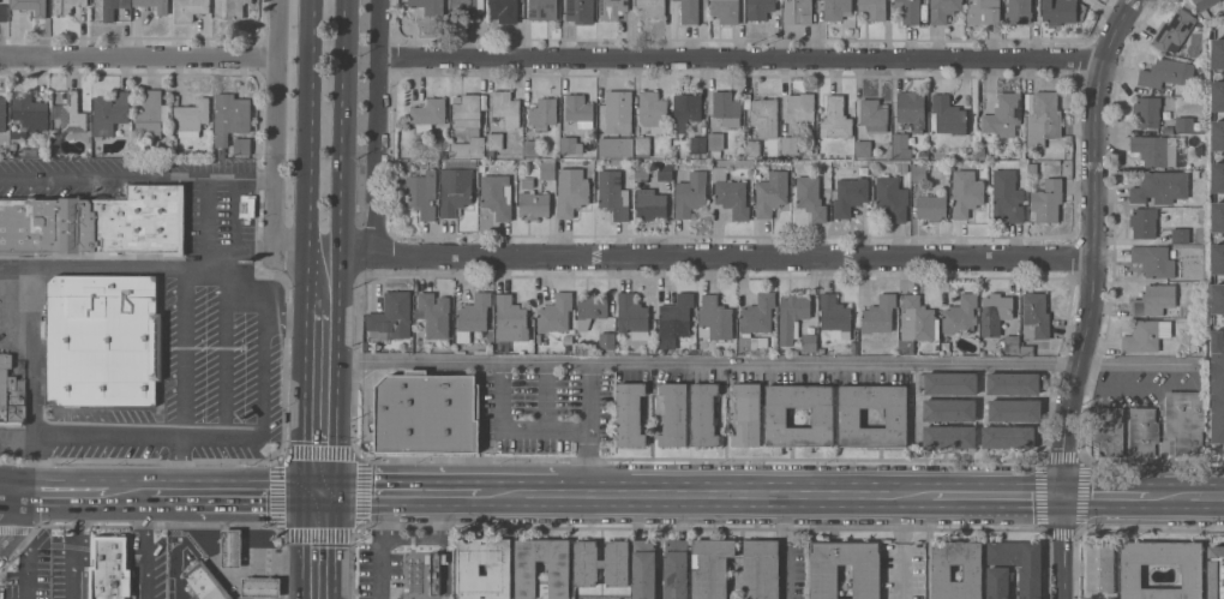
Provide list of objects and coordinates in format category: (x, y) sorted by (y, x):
building: (66, 5)
building: (31, 6)
building: (430, 6)
building: (653, 6)
building: (1204, 6)
building: (113, 7)
building: (188, 8)
building: (227, 8)
building: (467, 8)
building: (612, 8)
building: (760, 8)
building: (836, 8)
building: (874, 8)
building: (162, 10)
building: (504, 10)
building: (542, 10)
building: (725, 10)
building: (943, 10)
building: (580, 11)
building: (690, 11)
building: (798, 11)
building: (910, 11)
building: (984, 11)
building: (1019, 11)
building: (1058, 11)
building: (4, 12)
building: (1174, 30)
building: (1218, 53)
road: (137, 56)
road: (743, 59)
building: (1165, 72)
building: (1218, 95)
building: (505, 107)
building: (727, 107)
building: (800, 108)
building: (912, 108)
building: (580, 109)
building: (686, 109)
building: (619, 110)
building: (653, 110)
building: (1147, 110)
building: (2, 112)
building: (31, 112)
building: (110, 112)
building: (1003, 112)
building: (71, 113)
building: (152, 113)
building: (428, 113)
building: (544, 113)
building: (466, 114)
building: (874, 114)
building: (948, 114)
building: (191, 118)
building: (835, 118)
building: (1043, 118)
building: (229, 119)
road: (310, 120)
building: (1184, 124)
road: (379, 126)
building: (763, 126)
building: (1218, 133)
building: (496, 140)
building: (716, 140)
road: (274, 144)
building: (571, 144)
building: (642, 144)
building: (790, 144)
building: (241, 145)
building: (616, 145)
building: (698, 145)
building: (901, 145)
building: (532, 148)
building: (864, 148)
building: (1159, 149)
building: (137, 150)
building: (491, 152)
building: (517, 152)
building: (980, 152)
road: (341, 154)
building: (443, 154)
building: (715, 154)
building: (922, 154)
building: (460, 162)
building: (481, 167)
building: (901, 167)
building: (1033, 167)
building: (547, 168)
building: (641, 170)
building: (665, 170)
building: (919, 172)
building: (1218, 176)
road: (137, 180)
building: (527, 181)
building: (1160, 186)
building: (455, 190)
building: (571, 190)
building: (421, 192)
building: (770, 192)
building: (965, 192)
building: (690, 193)
building: (731, 193)
building: (497, 194)
building: (613, 194)
building: (848, 194)
building: (1007, 196)
building: (810, 197)
building: (892, 197)
building: (1048, 199)
building: (650, 203)
building: (533, 204)
building: (247, 205)
building: (931, 206)
building: (1217, 216)
building: (122, 221)
road: (205, 222)
building: (1144, 222)
building: (25, 226)
building: (1180, 234)
road: (1093, 244)
road: (716, 254)
building: (1217, 258)
building: (1153, 259)
road: (155, 268)
road: (308, 274)
road: (236, 287)
building: (1217, 298)
building: (1154, 299)
building: (590, 307)
road: (323, 309)
building: (556, 312)
building: (995, 312)
building: (433, 313)
building: (960, 313)
building: (792, 315)
building: (834, 315)
building: (880, 315)
building: (391, 316)
building: (473, 316)
building: (632, 316)
building: (1036, 316)
building: (714, 318)
building: (676, 319)
building: (510, 322)
building: (756, 322)
building: (917, 323)
building: (1145, 335)
building: (104, 339)
building: (568, 339)
building: (809, 341)
building: (607, 342)
building: (1012, 343)
building: (449, 347)
building: (822, 349)
building: (1027, 349)
road: (180, 352)
road: (750, 364)
road: (32, 365)
building: (948, 382)
building: (1015, 382)
building: (1218, 387)
building: (11, 390)
road: (545, 396)
road: (305, 400)
road: (337, 400)
parking lot: (551, 409)
building: (949, 409)
building: (1014, 409)
building: (427, 413)
building: (630, 413)
building: (673, 413)
building: (703, 413)
building: (748, 413)
building: (822, 415)
building: (850, 417)
road: (263, 420)
building: (1184, 420)
road: (589, 427)
road: (512, 430)
building: (1109, 431)
building: (1142, 431)
road: (106, 436)
building: (949, 436)
building: (1009, 436)
road: (17, 437)
road: (17, 491)
road: (90, 492)
road: (240, 492)
traffic signals: (302, 492)
road: (319, 492)
traffic signals: (337, 492)
road: (518, 492)
road: (745, 492)
road: (998, 492)
road: (162, 493)
road: (407, 493)
road: (1106, 493)
road: (1187, 493)
road: (17, 515)
road: (74, 545)
road: (302, 545)
road: (337, 545)
road: (902, 545)
road: (146, 546)
road: (377, 546)
road: (1063, 546)
building: (232, 547)
building: (739, 553)
road: (26, 561)
building: (601, 562)
building: (112, 567)
building: (710, 567)
building: (1100, 567)
building: (676, 568)
building: (434, 569)
building: (468, 569)
building: (644, 569)
building: (761, 569)
building: (526, 570)
building: (941, 571)
building: (1216, 571)
building: (1130, 575)
building: (824, 580)
building: (997, 582)
building: (1030, 582)
building: (205, 583)
building: (262, 586)

